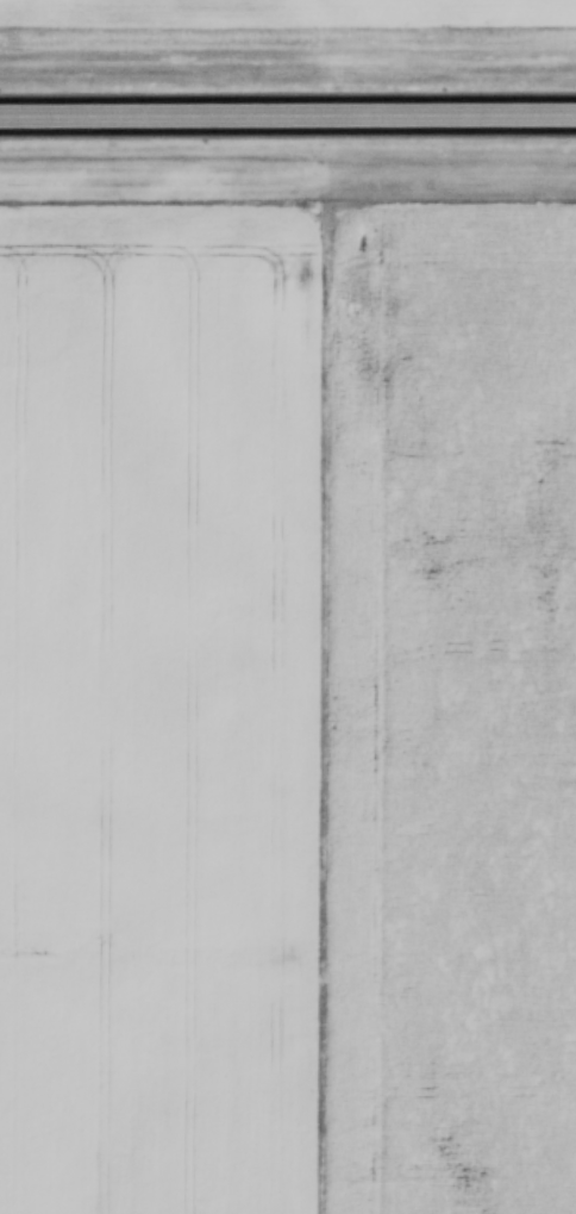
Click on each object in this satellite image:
road: (288, 114)

